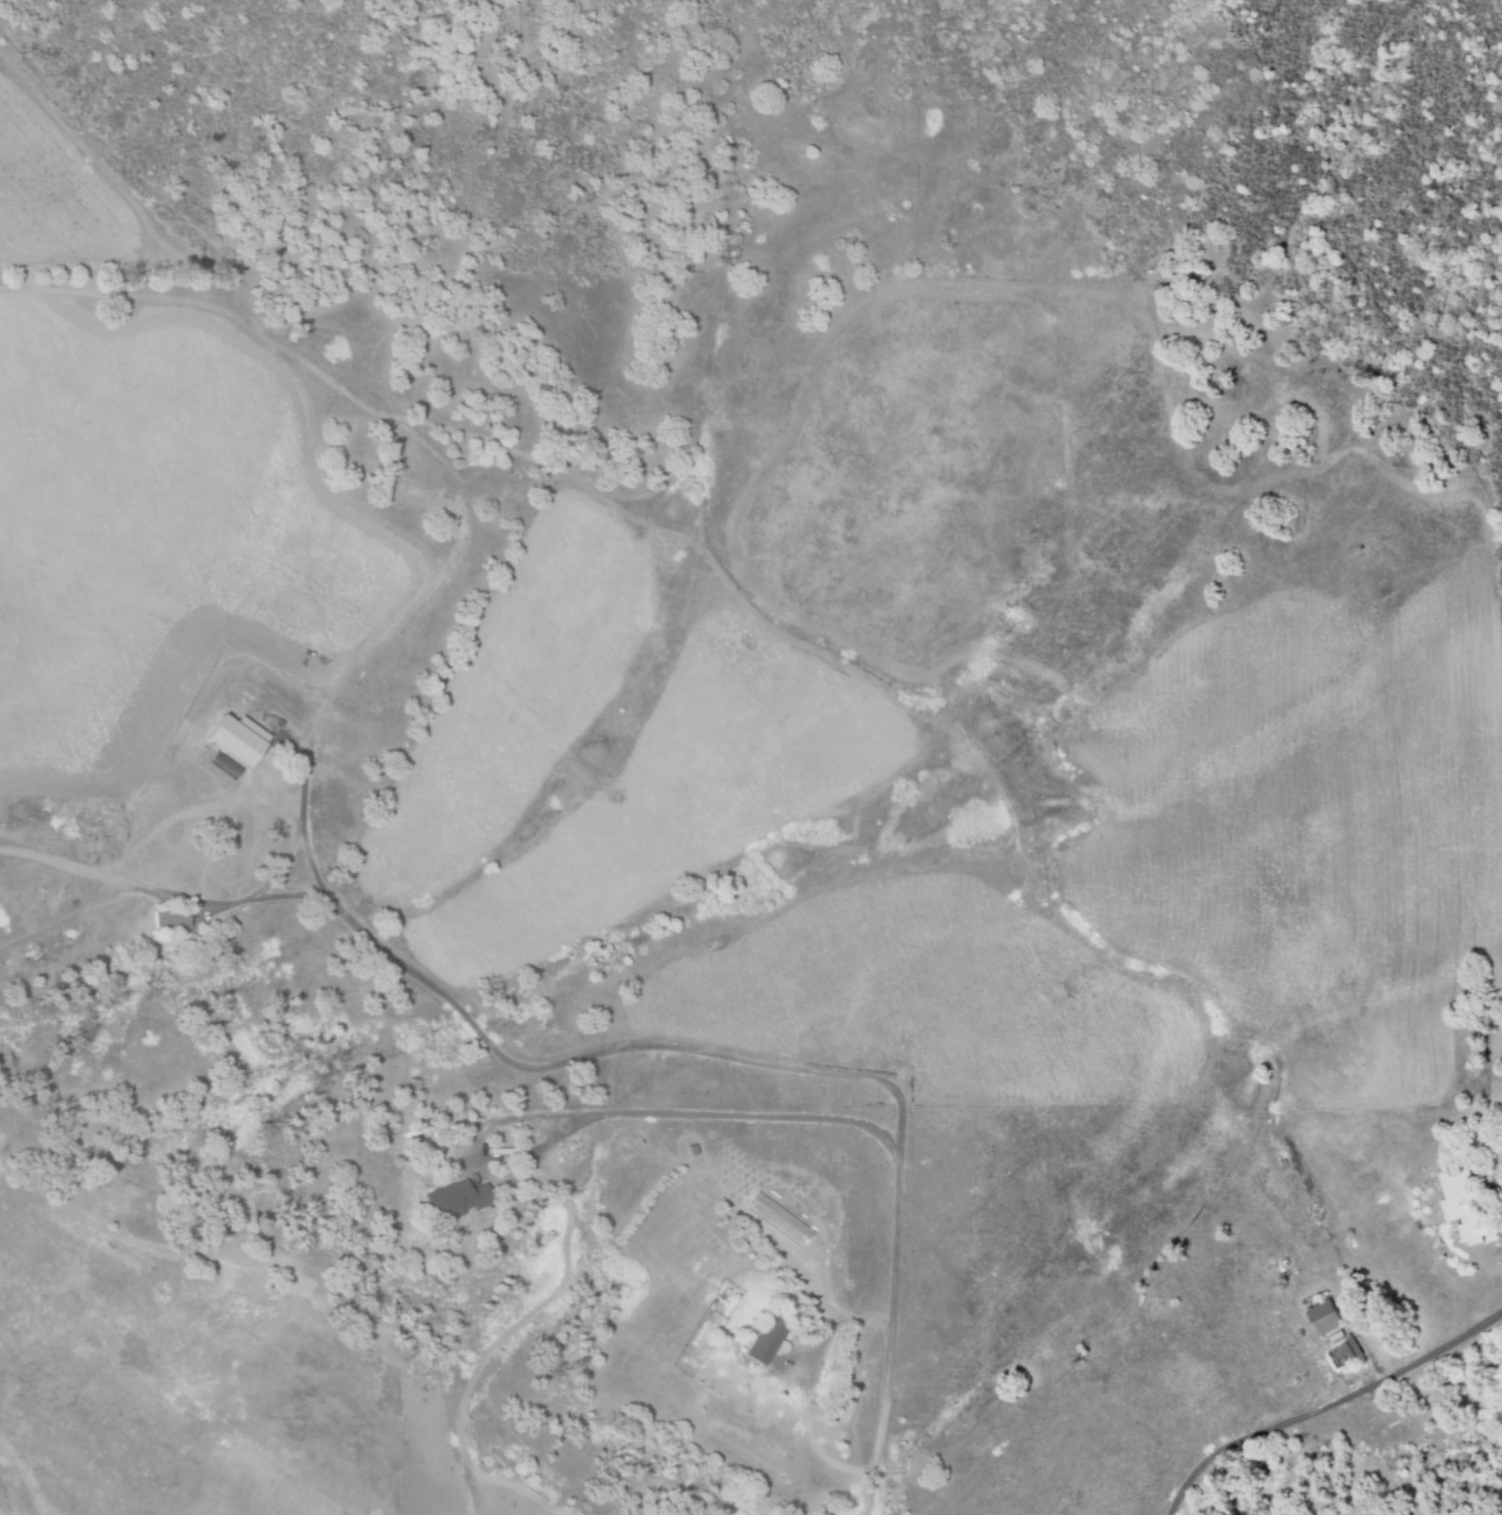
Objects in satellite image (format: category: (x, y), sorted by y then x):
building: (236, 739)
building: (224, 765)
road: (166, 895)
building: (170, 920)
road: (704, 1046)
road: (613, 1105)
building: (455, 1200)
building: (1463, 1205)
building: (778, 1221)
building: (1327, 1319)
building: (763, 1342)
building: (1346, 1354)
road: (1318, 1394)

